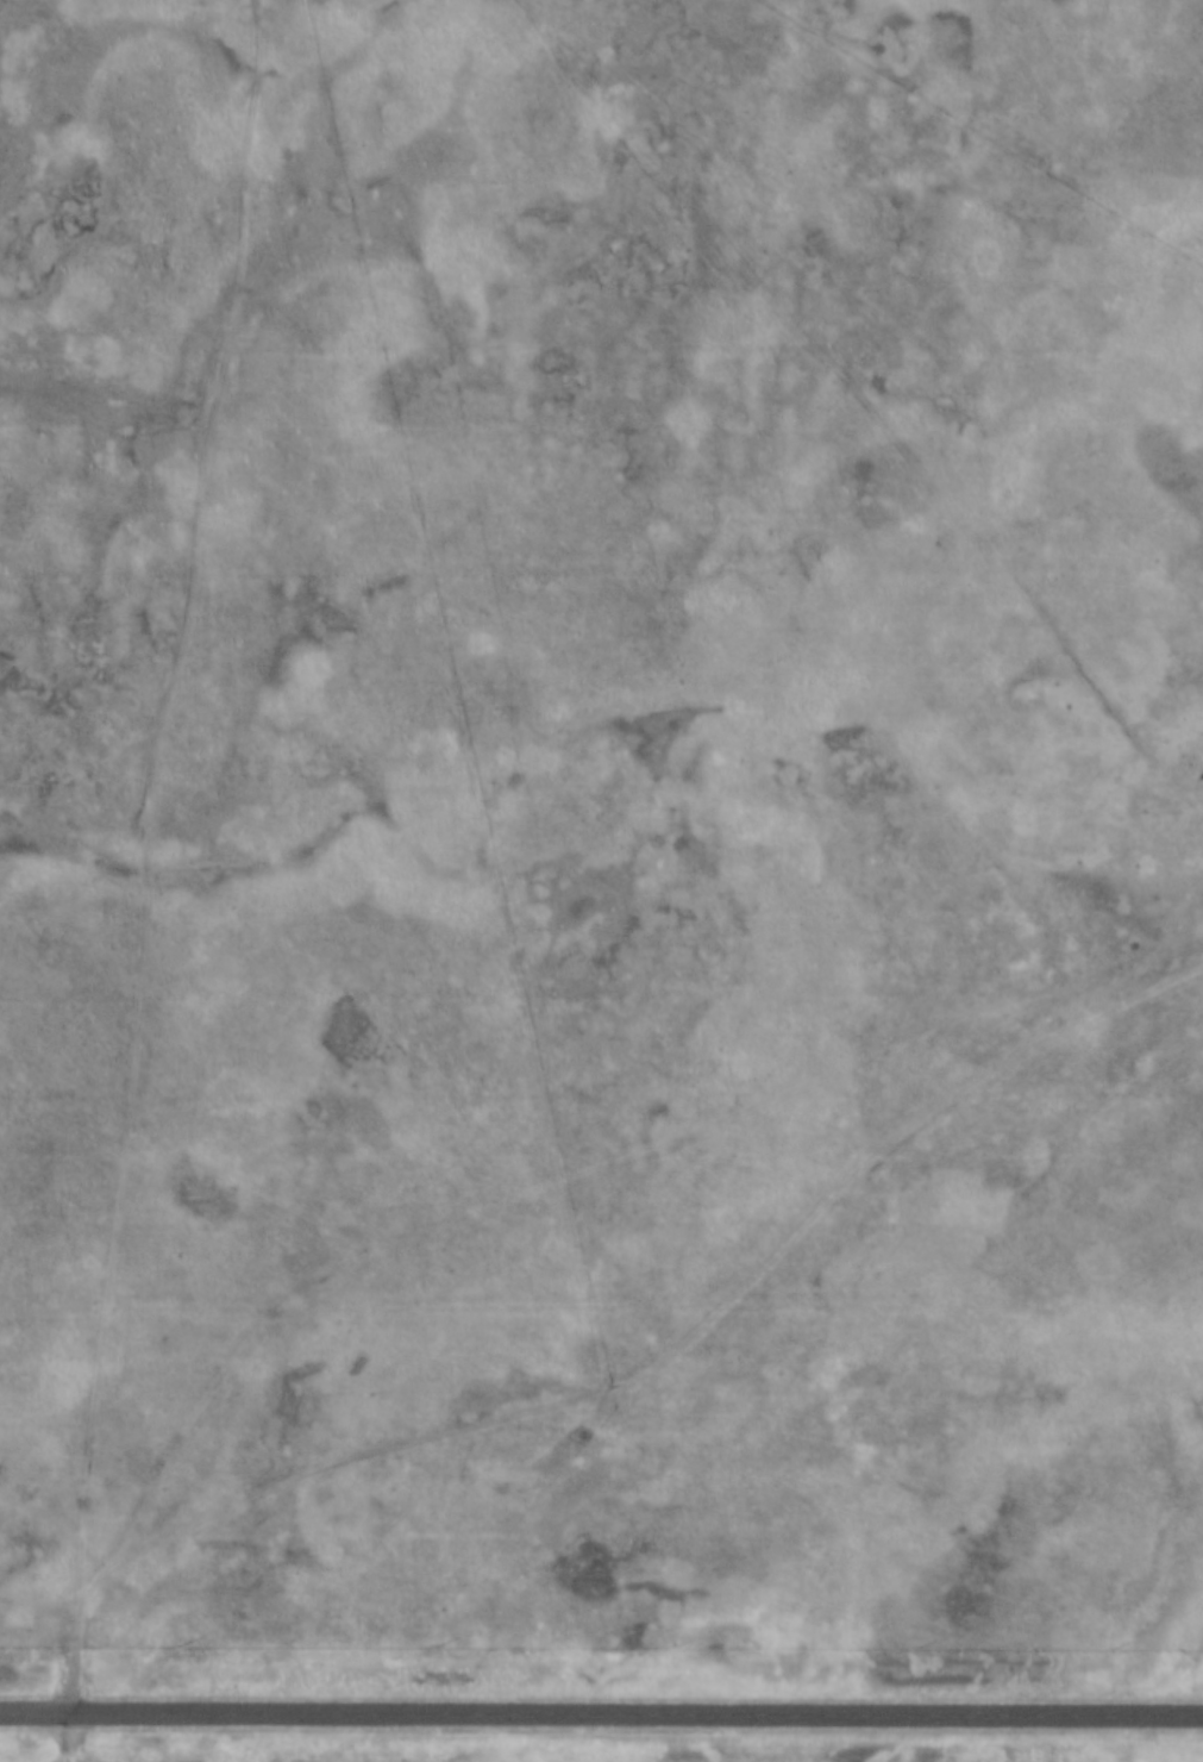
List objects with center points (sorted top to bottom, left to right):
road: (156, 852)
road: (685, 1332)
road: (601, 1713)

